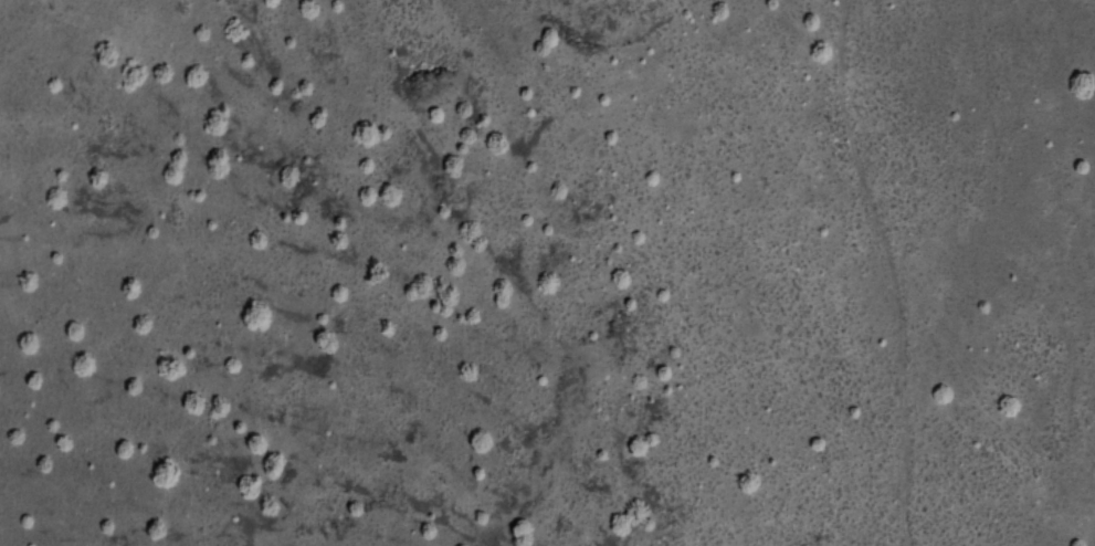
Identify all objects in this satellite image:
road: (897, 269)

